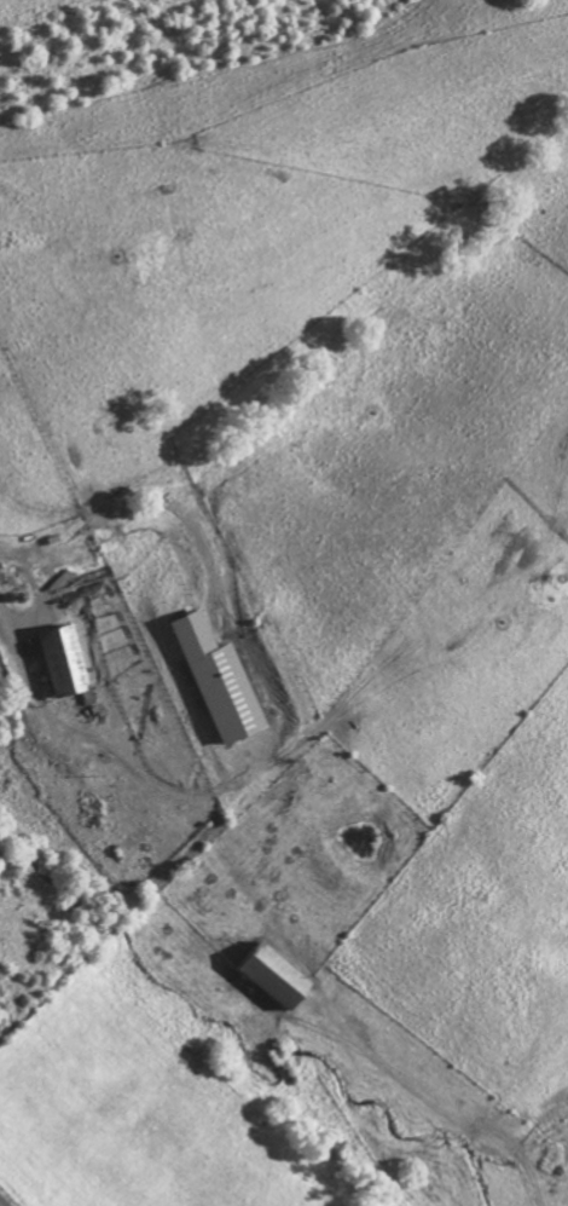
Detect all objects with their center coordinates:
building: (64, 659)
building: (221, 679)
road: (131, 749)
building: (277, 975)
road: (527, 1194)
road: (4, 1201)

